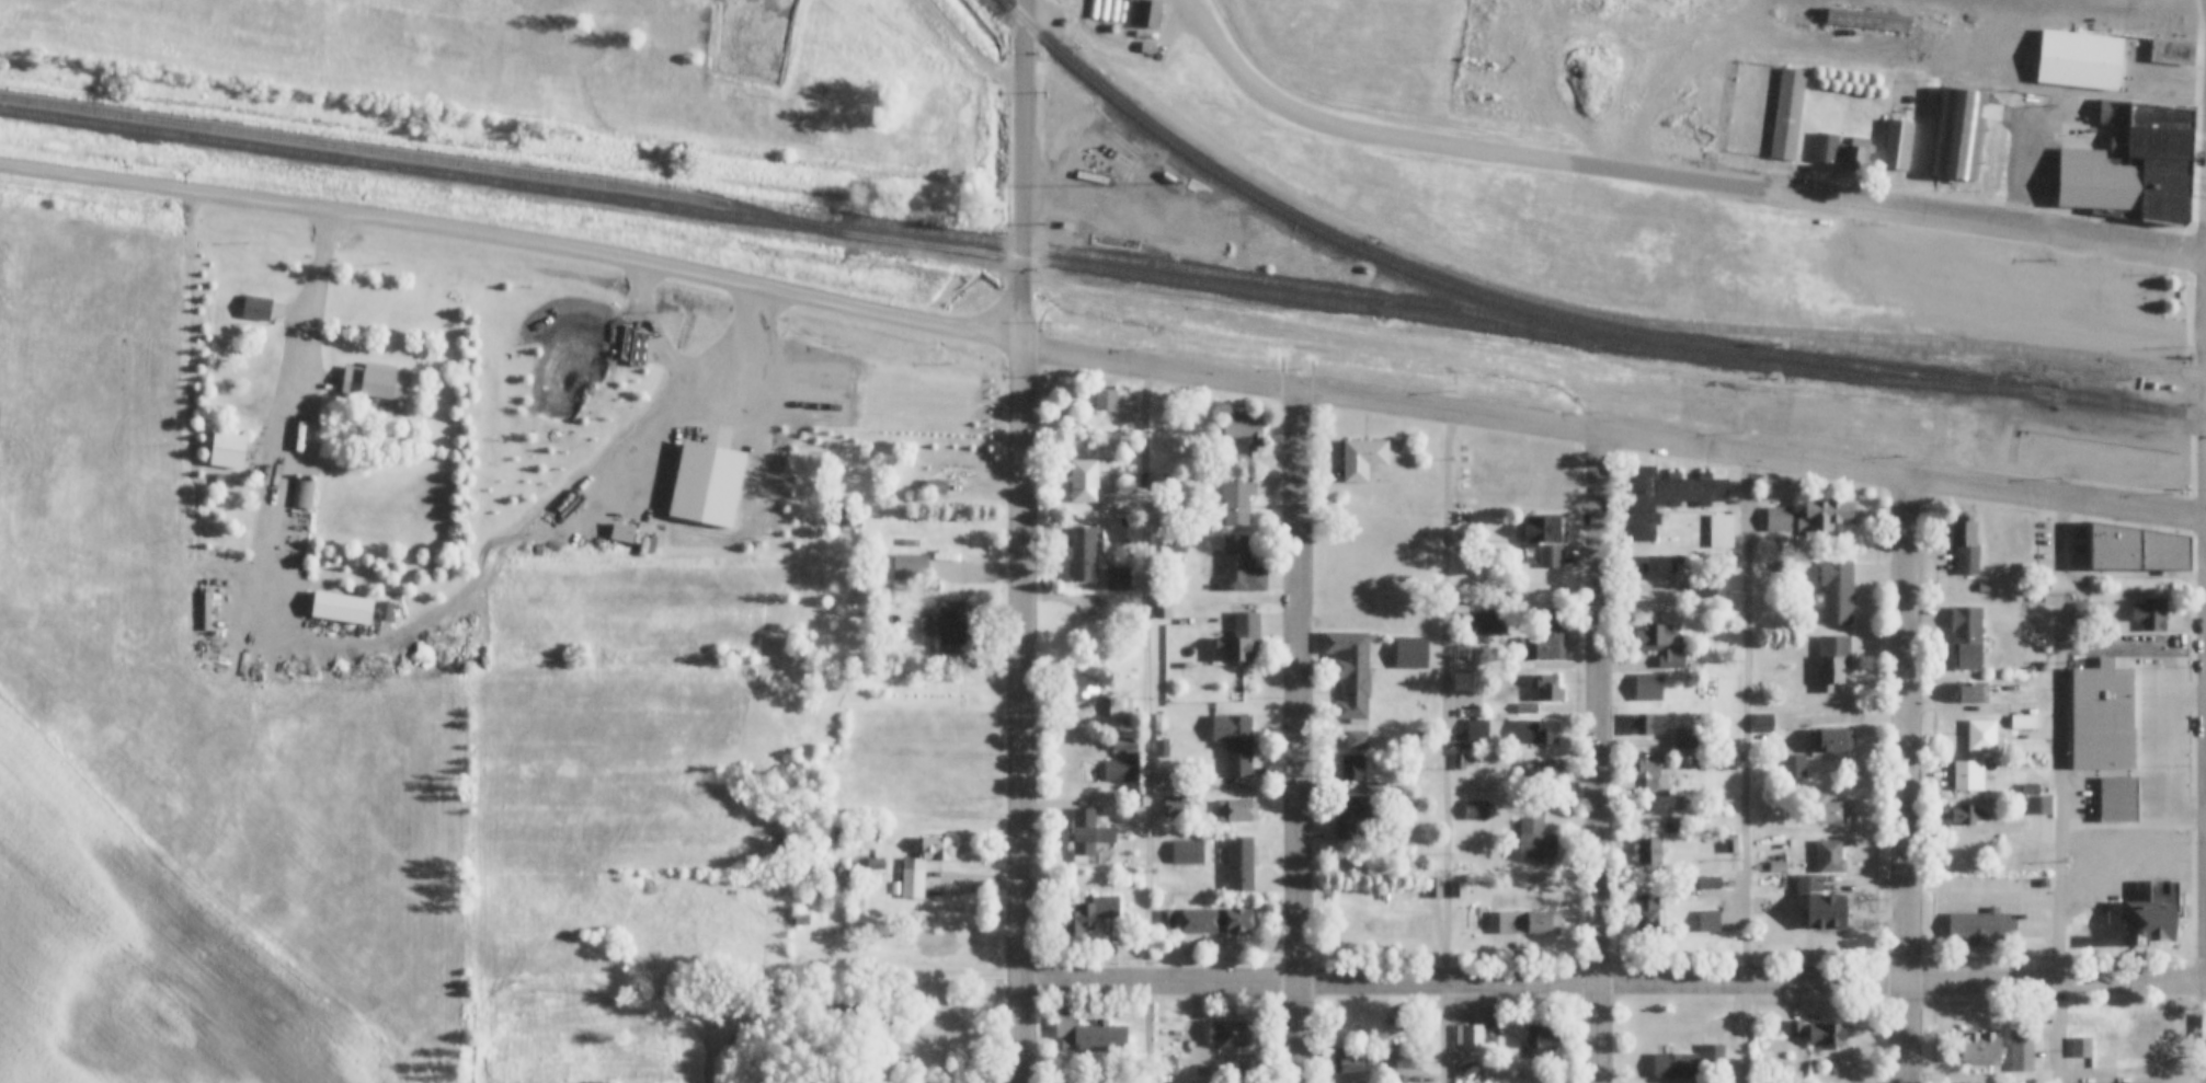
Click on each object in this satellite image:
storage tank: (1123, 5)
storage tank: (1094, 10)
storage tank: (1104, 10)
storage tank: (1113, 10)
railway: (2111, 10)
building: (1148, 13)
storage tank: (1122, 18)
building: (1868, 22)
storage tank: (1115, 27)
building: (1932, 27)
road: (972, 47)
building: (2080, 59)
building: (2156, 68)
building: (2113, 112)
building: (1787, 115)
building: (2158, 115)
building: (1957, 131)
building: (2150, 142)
building: (1897, 143)
road: (1442, 147)
building: (1839, 152)
railway: (413, 155)
building: (2169, 164)
road: (1022, 172)
building: (1168, 177)
building: (2164, 182)
building: (2165, 207)
road: (1980, 221)
road: (513, 241)
building: (1649, 252)
railway: (1025, 258)
building: (1364, 269)
railway: (1216, 274)
railway: (1486, 297)
building: (256, 308)
railway: (1784, 342)
building: (374, 382)
building: (1105, 400)
railway: (2128, 403)
road: (297, 411)
building: (1075, 422)
building: (1244, 424)
road: (1612, 436)
building: (228, 449)
building: (1362, 457)
building: (1534, 476)
building: (1084, 481)
building: (935, 487)
building: (302, 493)
building: (1667, 496)
building: (1237, 497)
building: (240, 515)
building: (1825, 516)
building: (1779, 519)
building: (850, 521)
building: (1721, 531)
building: (947, 537)
building: (1546, 539)
building: (1463, 542)
building: (1965, 546)
building: (2136, 546)
building: (1083, 554)
building: (1241, 566)
building: (1658, 567)
building: (911, 568)
building: (1118, 579)
building: (1984, 587)
building: (1703, 589)
building: (1837, 591)
building: (1355, 601)
building: (213, 606)
building: (1163, 606)
building: (342, 608)
building: (2085, 612)
building: (2150, 612)
building: (1489, 621)
building: (952, 627)
building: (1967, 636)
building: (1241, 637)
building: (1545, 638)
building: (1658, 645)
building: (1411, 653)
building: (1832, 660)
building: (2042, 666)
building: (1350, 671)
building: (1464, 682)
building: (1649, 688)
building: (1088, 689)
building: (1545, 689)
building: (1974, 692)
building: (2000, 707)
building: (1120, 708)
building: (1527, 708)
road: (1027, 714)
building: (2102, 716)
building: (2023, 722)
building: (1762, 724)
road: (1144, 725)
building: (1650, 725)
parking lot: (2159, 727)
building: (941, 728)
building: (1477, 730)
building: (1535, 731)
building: (1980, 735)
road: (1303, 737)
building: (1684, 738)
building: (1357, 740)
building: (1832, 740)
building: (1161, 741)
building: (1235, 742)
building: (1124, 744)
road: (1444, 746)
building: (841, 754)
building: (864, 756)
road: (1602, 758)
building: (1459, 761)
building: (1352, 767)
building: (1794, 768)
road: (1752, 770)
building: (1543, 771)
building: (1119, 772)
building: (1651, 775)
building: (1968, 775)
road: (1911, 780)
building: (2031, 788)
road: (2066, 792)
building: (2118, 799)
building: (1138, 800)
building: (1677, 802)
building: (2039, 805)
building: (1176, 807)
building: (1236, 810)
building: (1827, 811)
building: (1964, 815)
building: (1345, 817)
building: (1673, 826)
building: (869, 834)
building: (1088, 836)
building: (1534, 838)
building: (937, 846)
building: (1731, 846)
building: (1648, 852)
building: (1188, 853)
building: (1830, 857)
building: (1241, 863)
building: (875, 864)
building: (1778, 868)
building: (912, 879)
building: (2151, 880)
building: (2043, 883)
building: (1138, 884)
building: (1435, 888)
building: (1459, 890)
building: (1710, 890)
parking lot: (2001, 901)
building: (1106, 907)
building: (1826, 913)
building: (1352, 917)
building: (801, 920)
building: (1079, 920)
building: (1166, 920)
building: (1216, 921)
building: (2148, 922)
building: (1529, 923)
building: (1978, 926)
road: (1616, 987)
building: (1360, 1023)
building: (1234, 1033)
building: (1819, 1033)
building: (1472, 1035)
building: (1088, 1036)
building: (1541, 1042)
building: (2144, 1042)
building: (1980, 1047)
building: (2081, 1047)
building: (2022, 1050)
building: (1730, 1052)
building: (1406, 1063)
building: (1167, 1065)
building: (1350, 1065)
building: (1676, 1067)
building: (1467, 1068)

